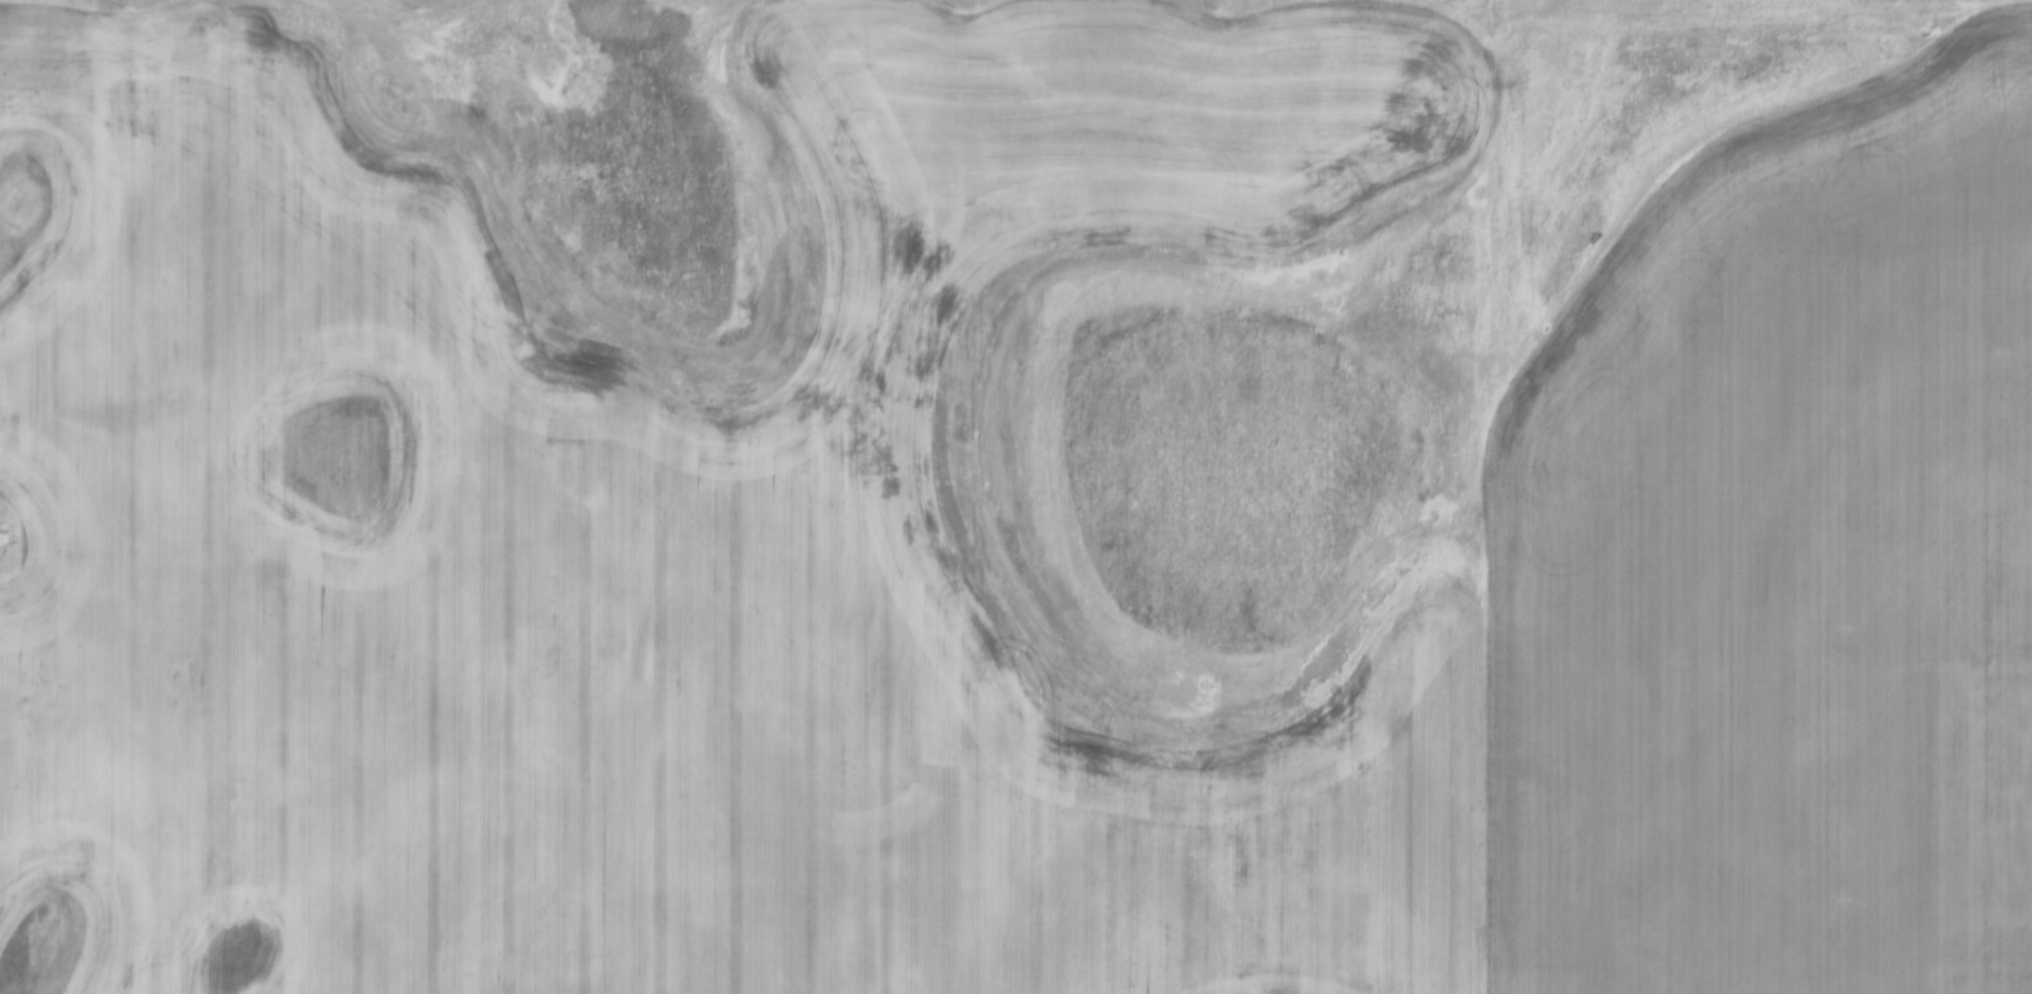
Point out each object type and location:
road: (1500, 496)

